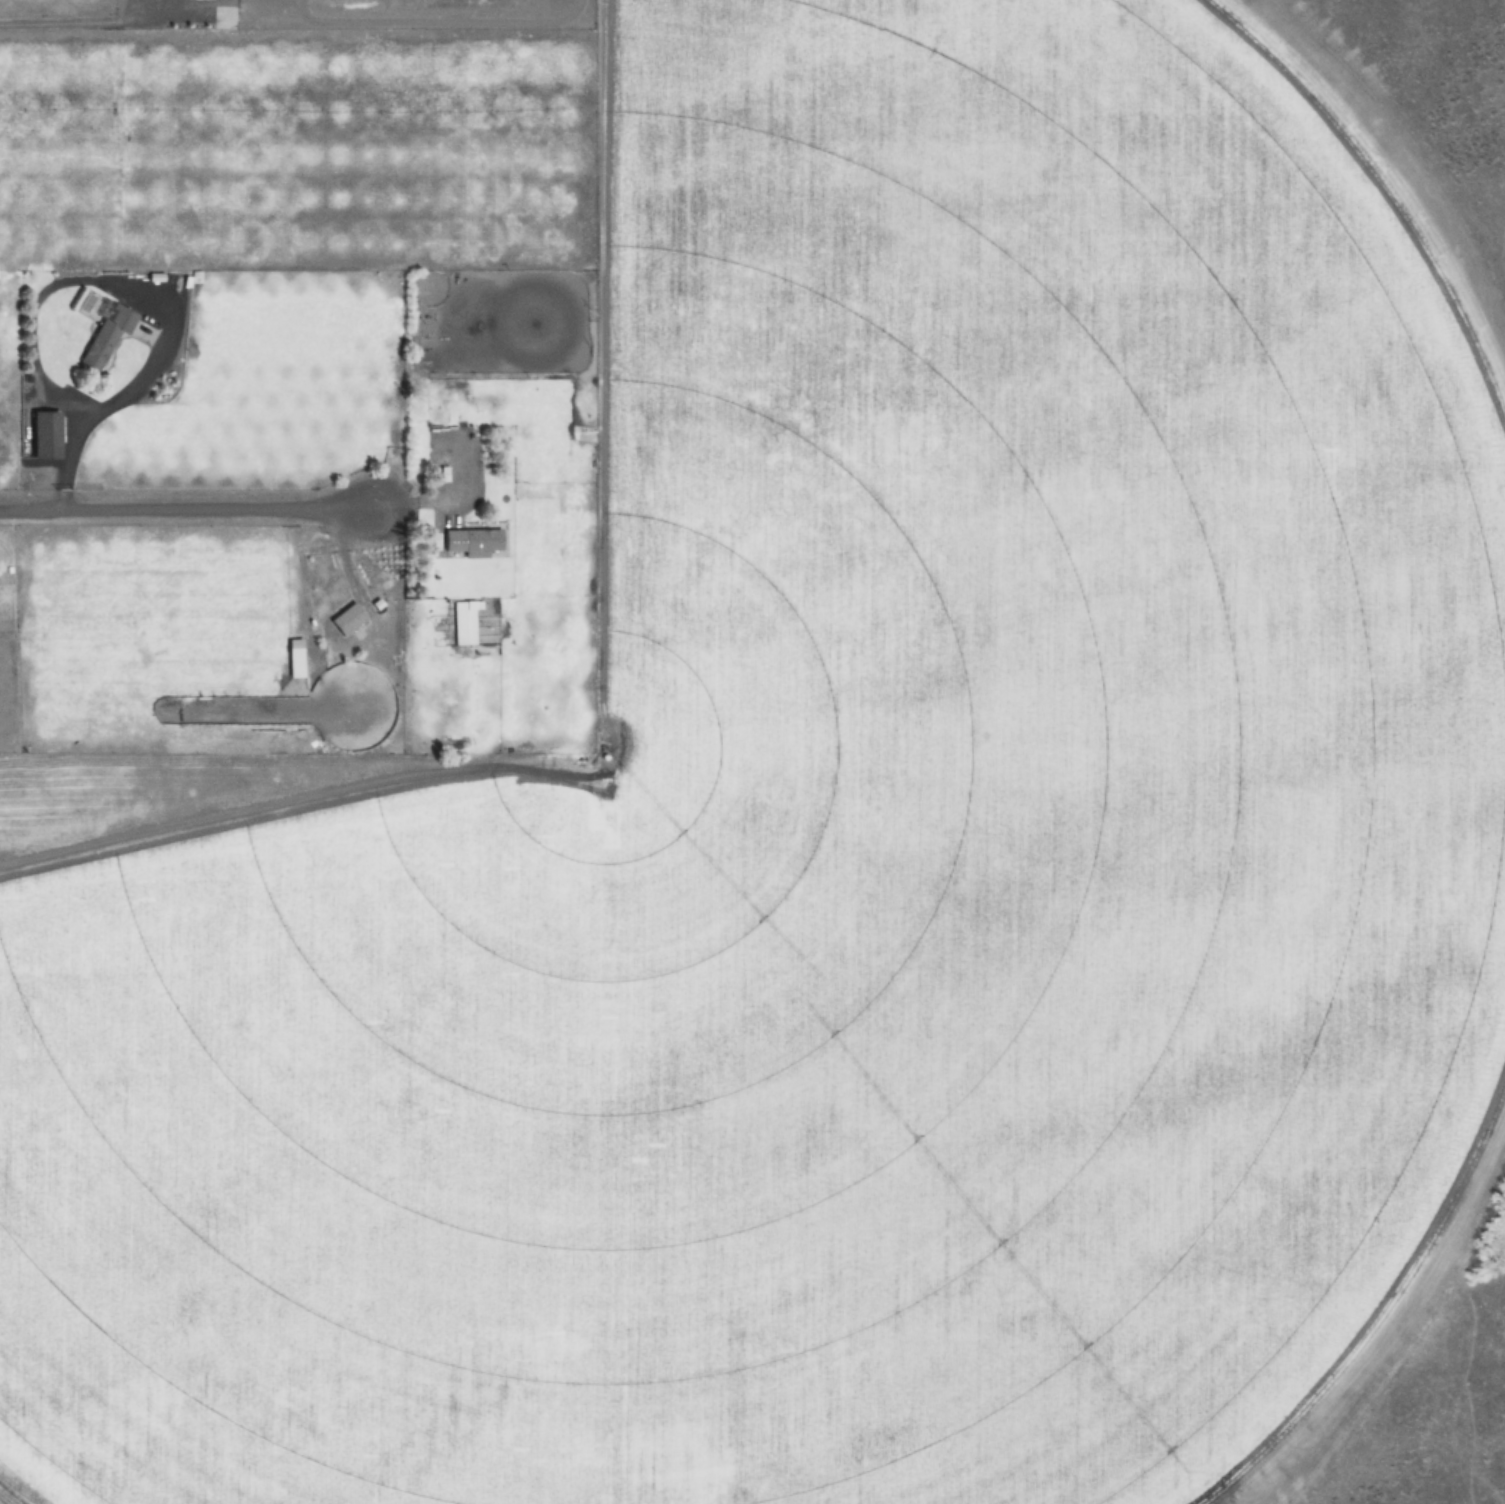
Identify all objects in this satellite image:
road: (78, 21)
building: (106, 336)
building: (43, 435)
road: (177, 508)
building: (472, 543)
building: (348, 619)
building: (466, 623)
crop: (752, 752)

